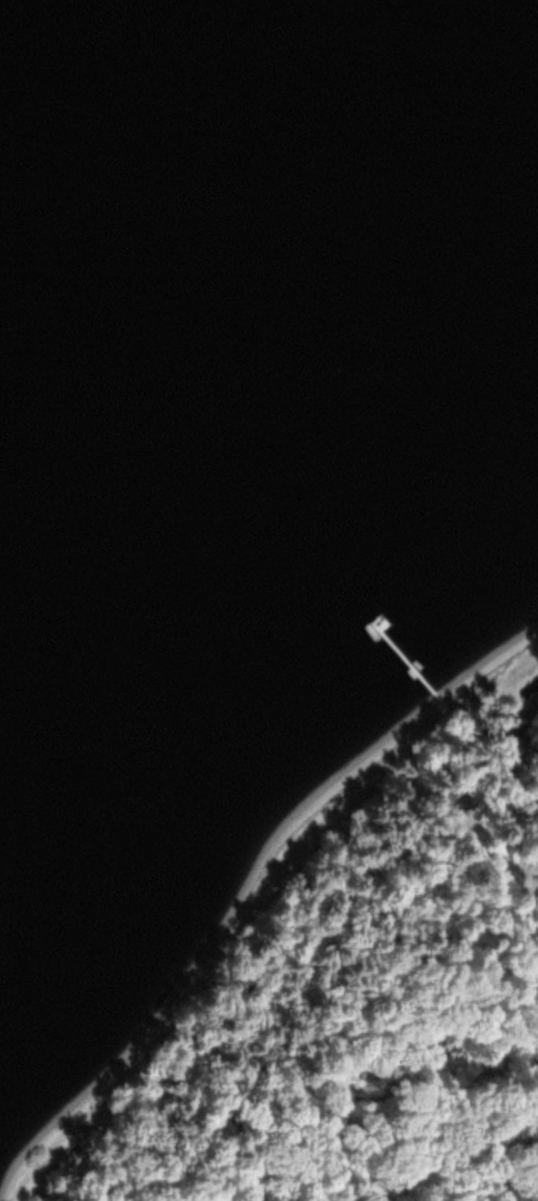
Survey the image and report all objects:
building: (528, 738)

